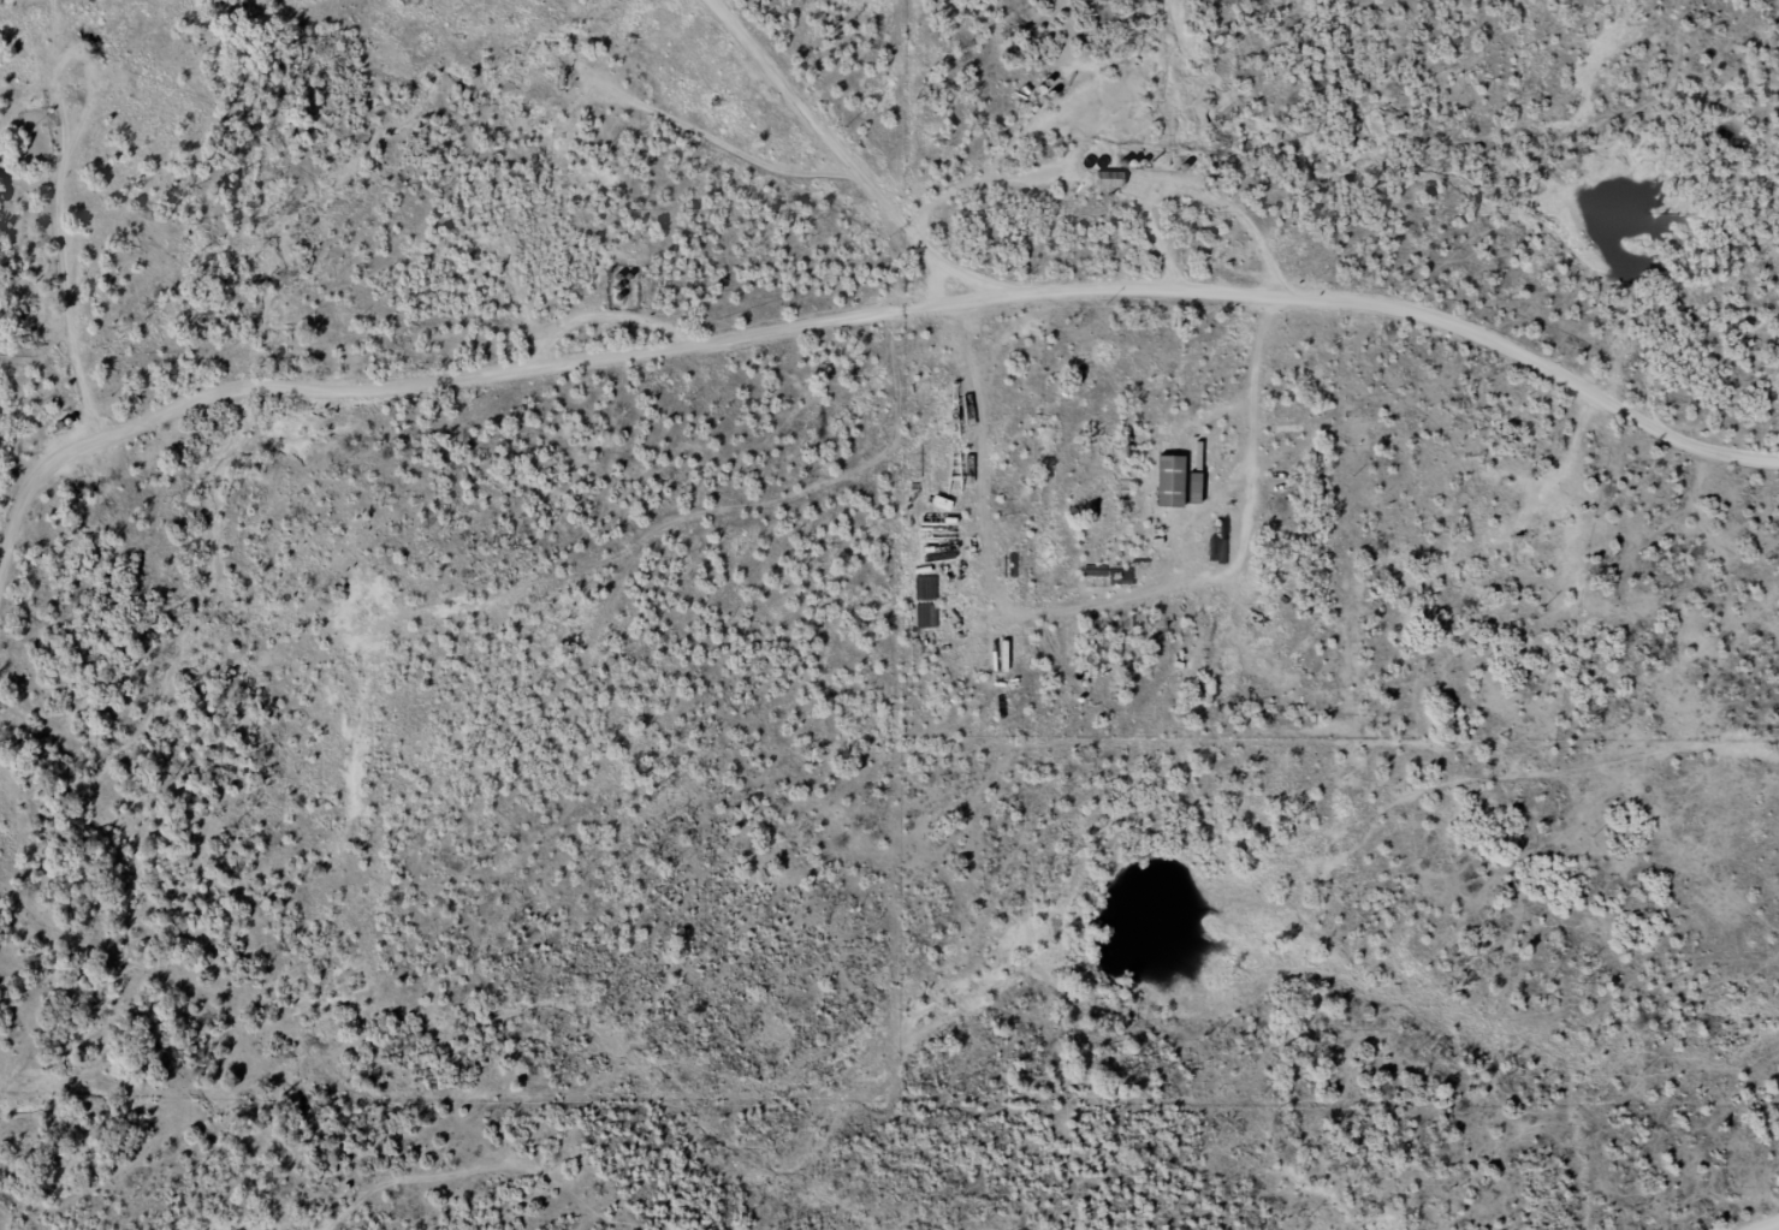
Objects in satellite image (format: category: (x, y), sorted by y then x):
road: (835, 164)
building: (1107, 182)
road: (1404, 310)
road: (433, 378)
building: (1166, 485)
building: (1188, 492)
road: (1002, 583)
road: (1772, 1228)

